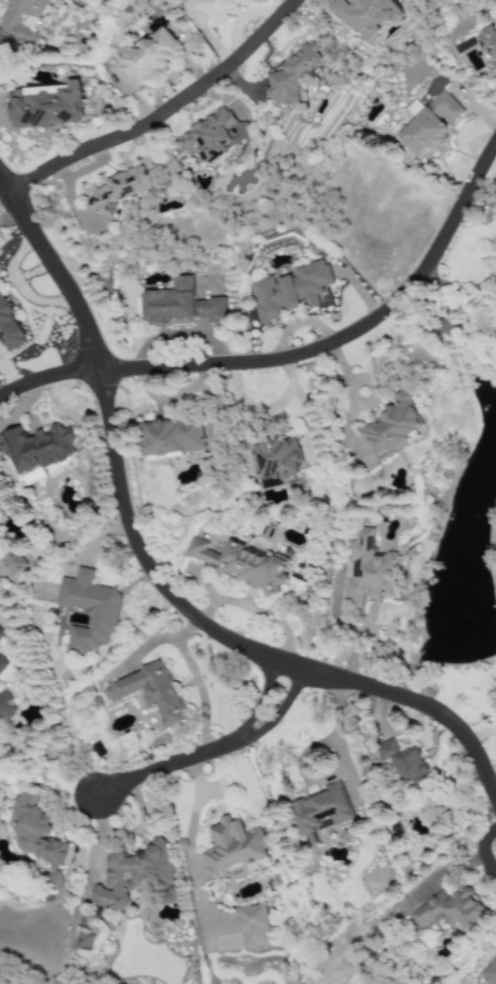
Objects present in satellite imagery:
building: (218, 9)
building: (368, 16)
building: (19, 20)
building: (489, 43)
building: (151, 56)
building: (293, 76)
building: (45, 107)
road: (160, 113)
building: (430, 123)
building: (214, 135)
building: (115, 191)
building: (289, 291)
building: (181, 306)
building: (9, 329)
road: (346, 335)
road: (47, 377)
road: (265, 406)
building: (390, 429)
building: (173, 439)
building: (38, 450)
building: (276, 461)
building: (1, 504)
building: (12, 562)
building: (243, 564)
building: (368, 571)
road: (155, 581)
building: (103, 618)
road: (351, 632)
building: (0, 636)
road: (140, 653)
building: (2, 665)
road: (188, 682)
road: (196, 682)
building: (495, 683)
building: (151, 693)
building: (493, 695)
building: (96, 702)
building: (5, 706)
road: (339, 749)
road: (200, 753)
building: (401, 760)
building: (321, 811)
building: (38, 837)
building: (232, 847)
road: (481, 849)
building: (132, 874)
building: (450, 910)
building: (254, 926)
power tower: (88, 944)
building: (489, 973)

